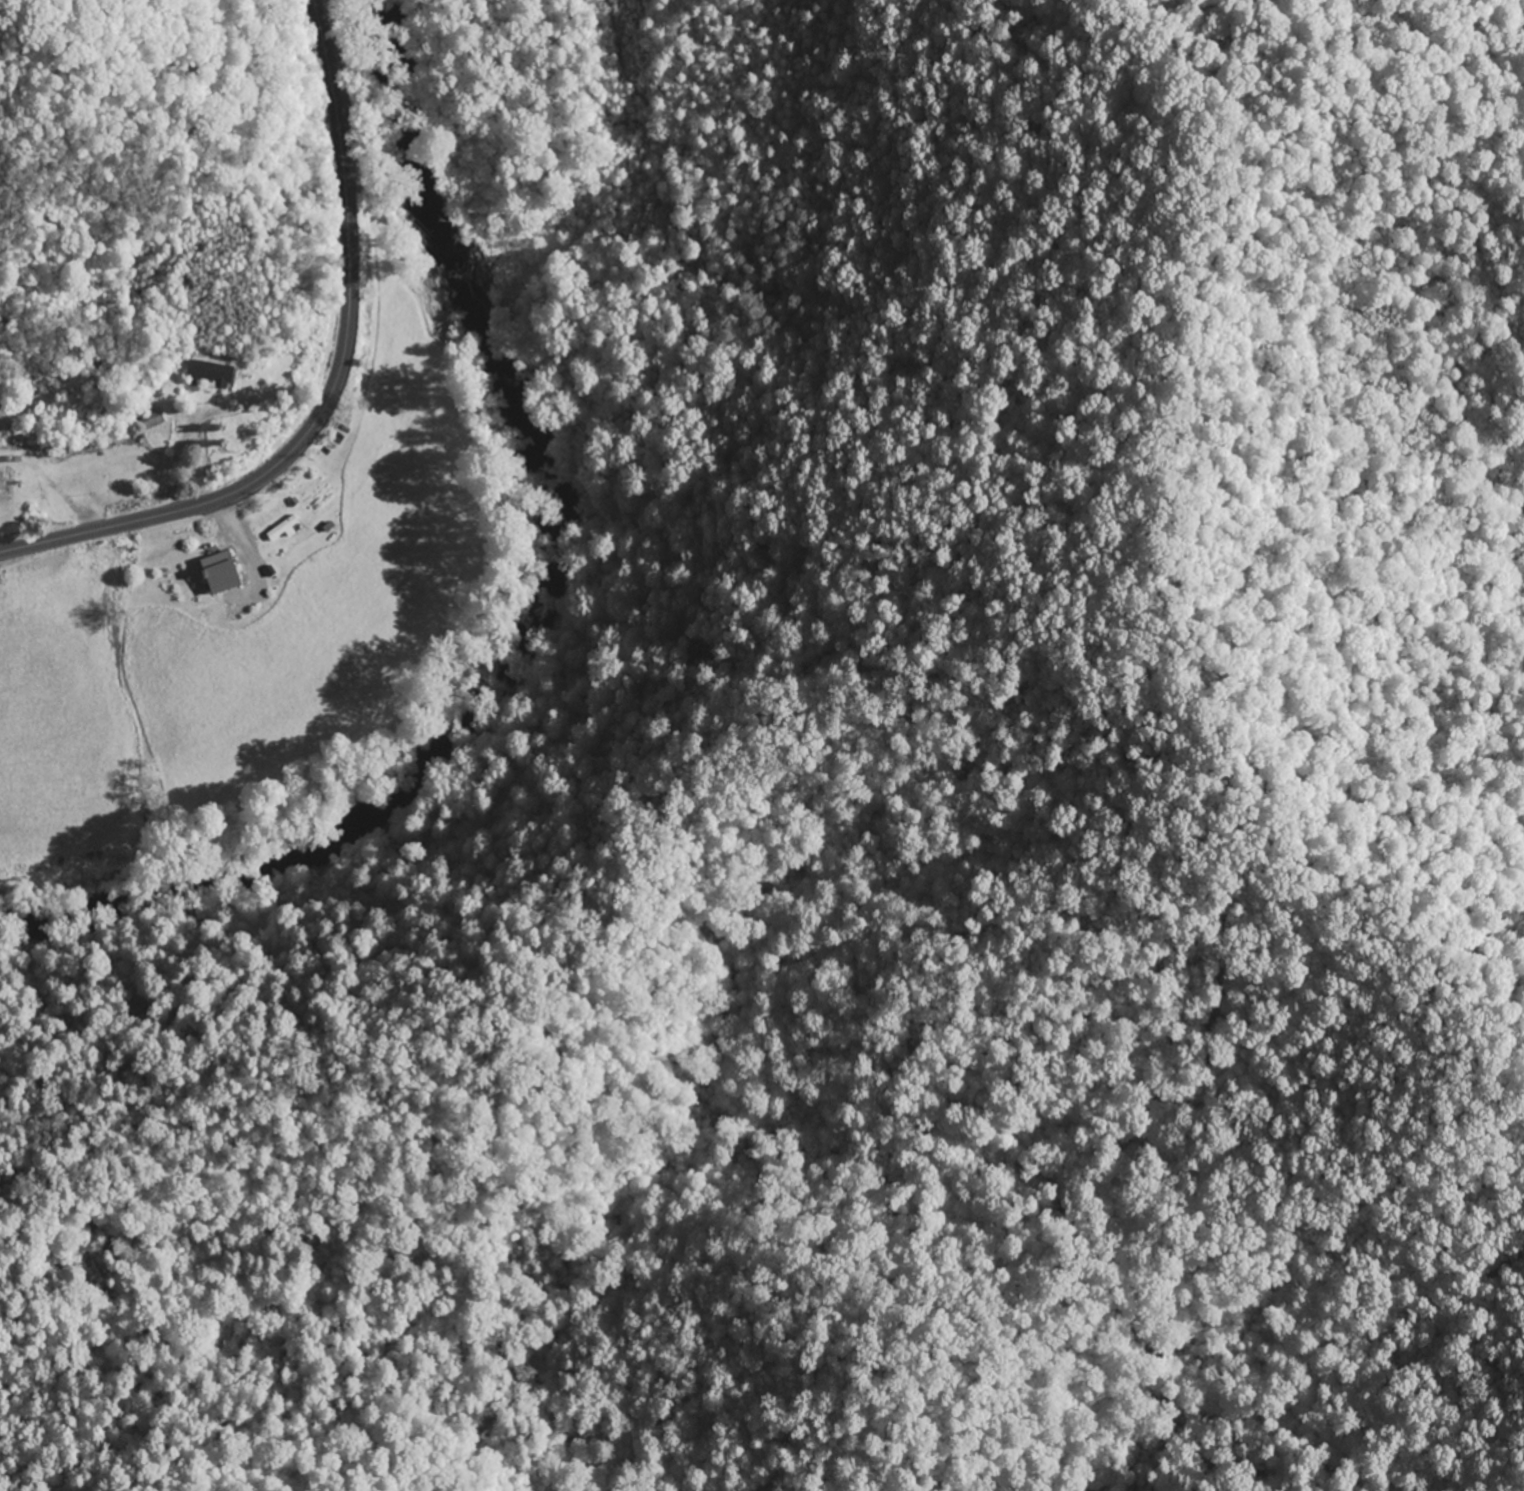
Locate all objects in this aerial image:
building: (214, 373)
road: (336, 386)
building: (154, 420)
building: (286, 530)
building: (224, 573)

